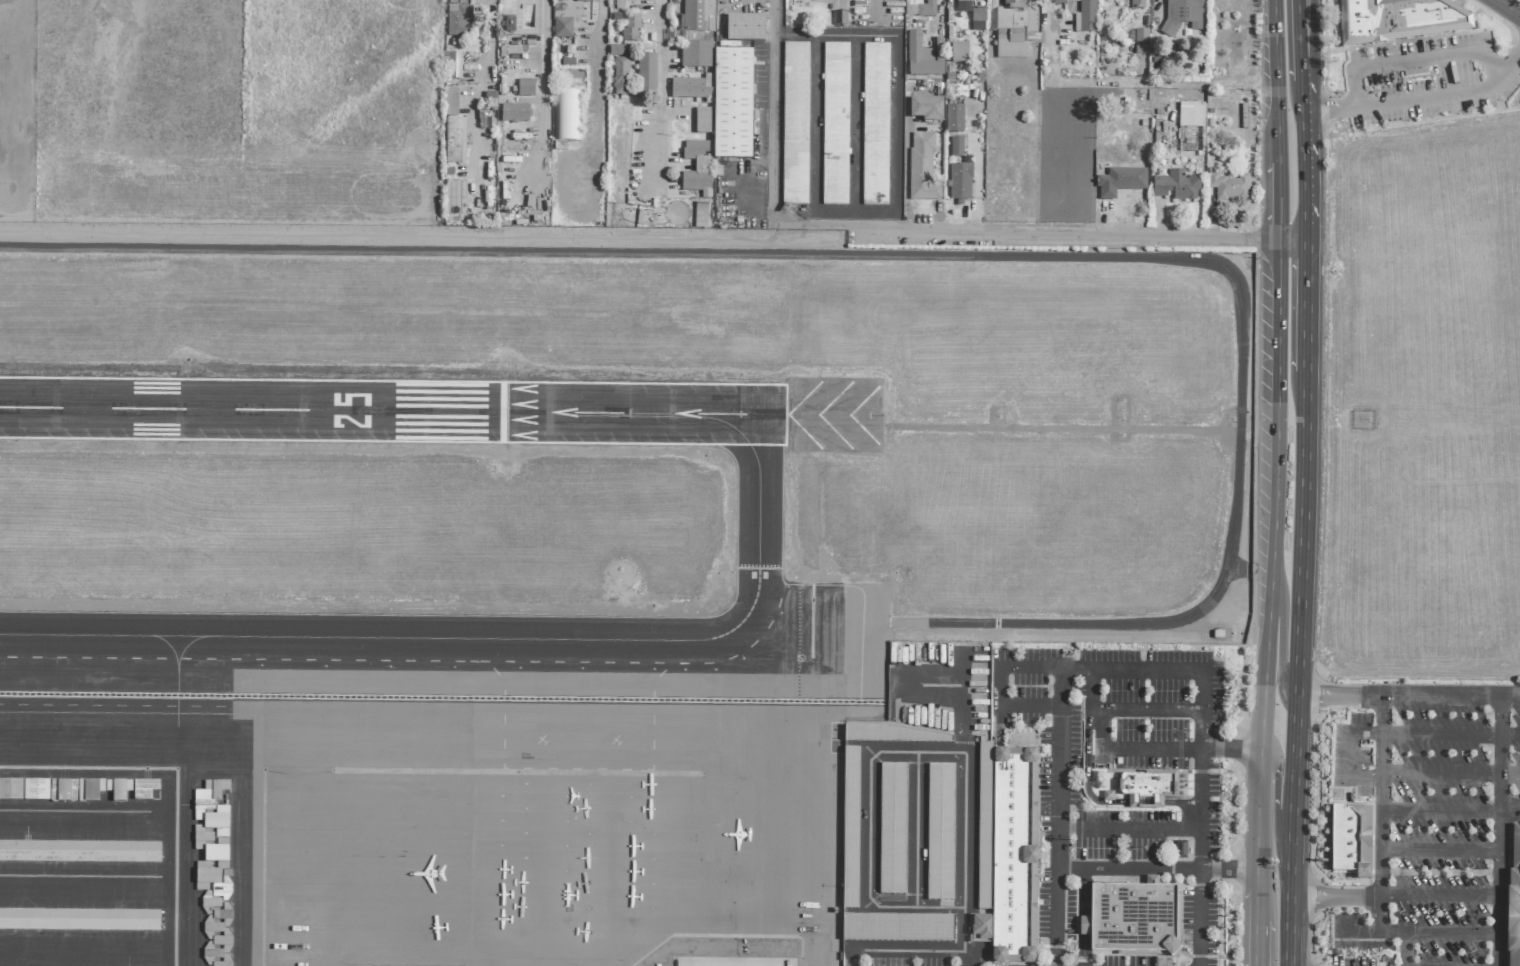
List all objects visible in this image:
building: (558, 0)
building: (966, 0)
building: (584, 1)
building: (1011, 4)
building: (1136, 4)
road: (1507, 8)
building: (921, 9)
building: (977, 16)
building: (1181, 16)
building: (839, 18)
road: (857, 18)
building: (1082, 18)
building: (1400, 20)
building: (458, 21)
building: (696, 21)
building: (509, 23)
building: (562, 28)
building: (744, 28)
building: (631, 29)
road: (818, 36)
road: (489, 37)
building: (1141, 41)
road: (1302, 41)
building: (1010, 43)
building: (617, 50)
building: (959, 53)
building: (695, 55)
building: (922, 57)
road: (1412, 58)
road: (1511, 58)
building: (453, 66)
building: (646, 75)
building: (620, 76)
road: (1273, 81)
building: (525, 88)
road: (598, 88)
road: (543, 89)
building: (688, 89)
road: (661, 91)
road: (1303, 95)
road: (1407, 98)
building: (449, 102)
building: (731, 104)
road: (778, 105)
building: (926, 108)
building: (514, 113)
building: (1190, 115)
building: (565, 116)
building: (953, 118)
building: (702, 120)
building: (796, 125)
road: (815, 125)
road: (856, 125)
building: (875, 125)
building: (835, 126)
building: (454, 141)
building: (955, 147)
building: (696, 166)
building: (921, 168)
road: (976, 171)
road: (896, 173)
road: (1305, 173)
building: (1120, 182)
building: (959, 183)
building: (1175, 186)
building: (1228, 187)
road: (1276, 200)
road: (741, 207)
road: (826, 225)
road: (1068, 237)
road: (1291, 238)
road: (929, 255)
road: (1305, 305)
crop: (1424, 403)
airport runway: (394, 413)
airport runway: (788, 414)
airport taxiway: (785, 557)
road: (1271, 563)
airport: (551, 565)
airport taxiway: (507, 641)
road: (1281, 641)
road: (1073, 667)
road: (1161, 668)
road: (1297, 669)
road: (1057, 687)
road: (1339, 697)
road: (1450, 697)
road: (1145, 707)
road: (1104, 728)
road: (1201, 728)
building: (892, 734)
road: (1450, 734)
road: (1152, 749)
road: (1230, 749)
road: (1084, 750)
road: (1351, 753)
road: (1056, 761)
road: (1450, 774)
building: (1147, 788)
building: (35, 789)
building: (100, 789)
building: (10, 790)
building: (62, 790)
building: (1107, 796)
road: (1144, 802)
road: (1181, 802)
building: (211, 808)
road: (1274, 810)
road: (1450, 813)
parking lot: (1430, 820)
building: (856, 828)
building: (896, 828)
road: (1128, 830)
road: (1499, 831)
building: (944, 832)
building: (201, 839)
building: (1350, 840)
airport apron: (418, 841)
road: (1378, 844)
building: (1180, 849)
building: (1515, 849)
road: (1438, 850)
building: (81, 852)
building: (1006, 853)
road: (1199, 857)
road: (1155, 867)
road: (1082, 890)
road: (1438, 895)
road: (1334, 896)
road: (1256, 906)
building: (1131, 919)
building: (1515, 919)
building: (81, 921)
road: (1082, 924)
building: (902, 928)
road: (1450, 931)
road: (1355, 933)
road: (1255, 944)
road: (910, 948)
road: (1081, 950)
building: (212, 953)

